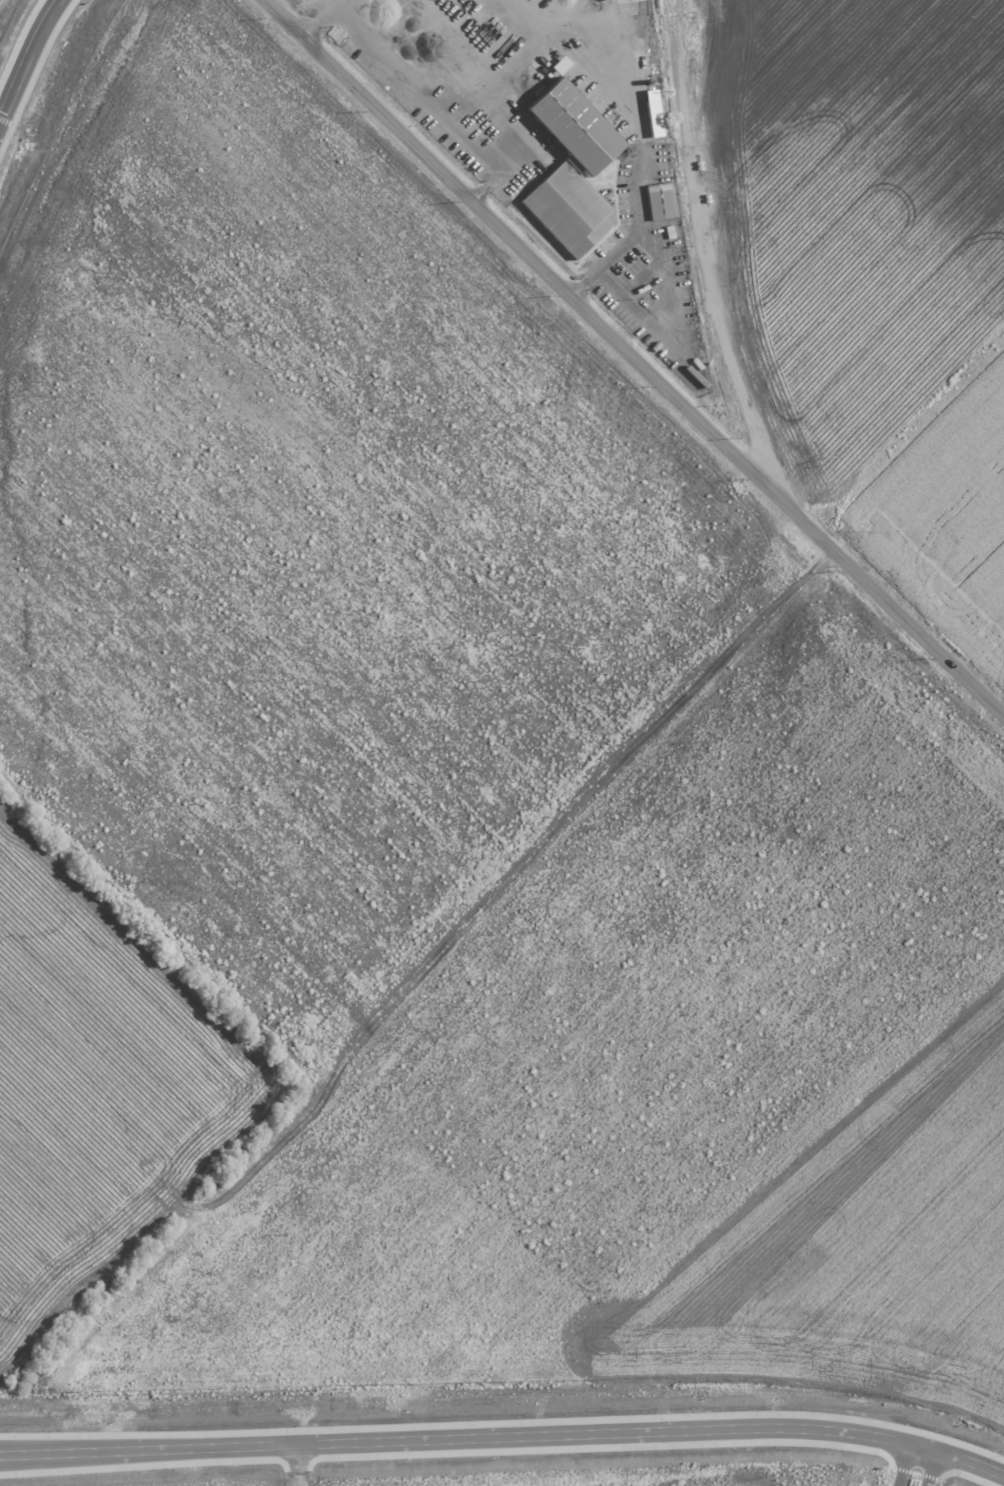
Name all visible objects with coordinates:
road: (320, 18)
road: (26, 56)
building: (560, 65)
road: (433, 99)
building: (653, 113)
building: (573, 127)
road: (641, 131)
building: (660, 201)
building: (568, 210)
road: (549, 276)
road: (678, 333)
road: (919, 633)
building: (584, 822)
road: (504, 1437)
road: (901, 1466)
road: (933, 1470)

